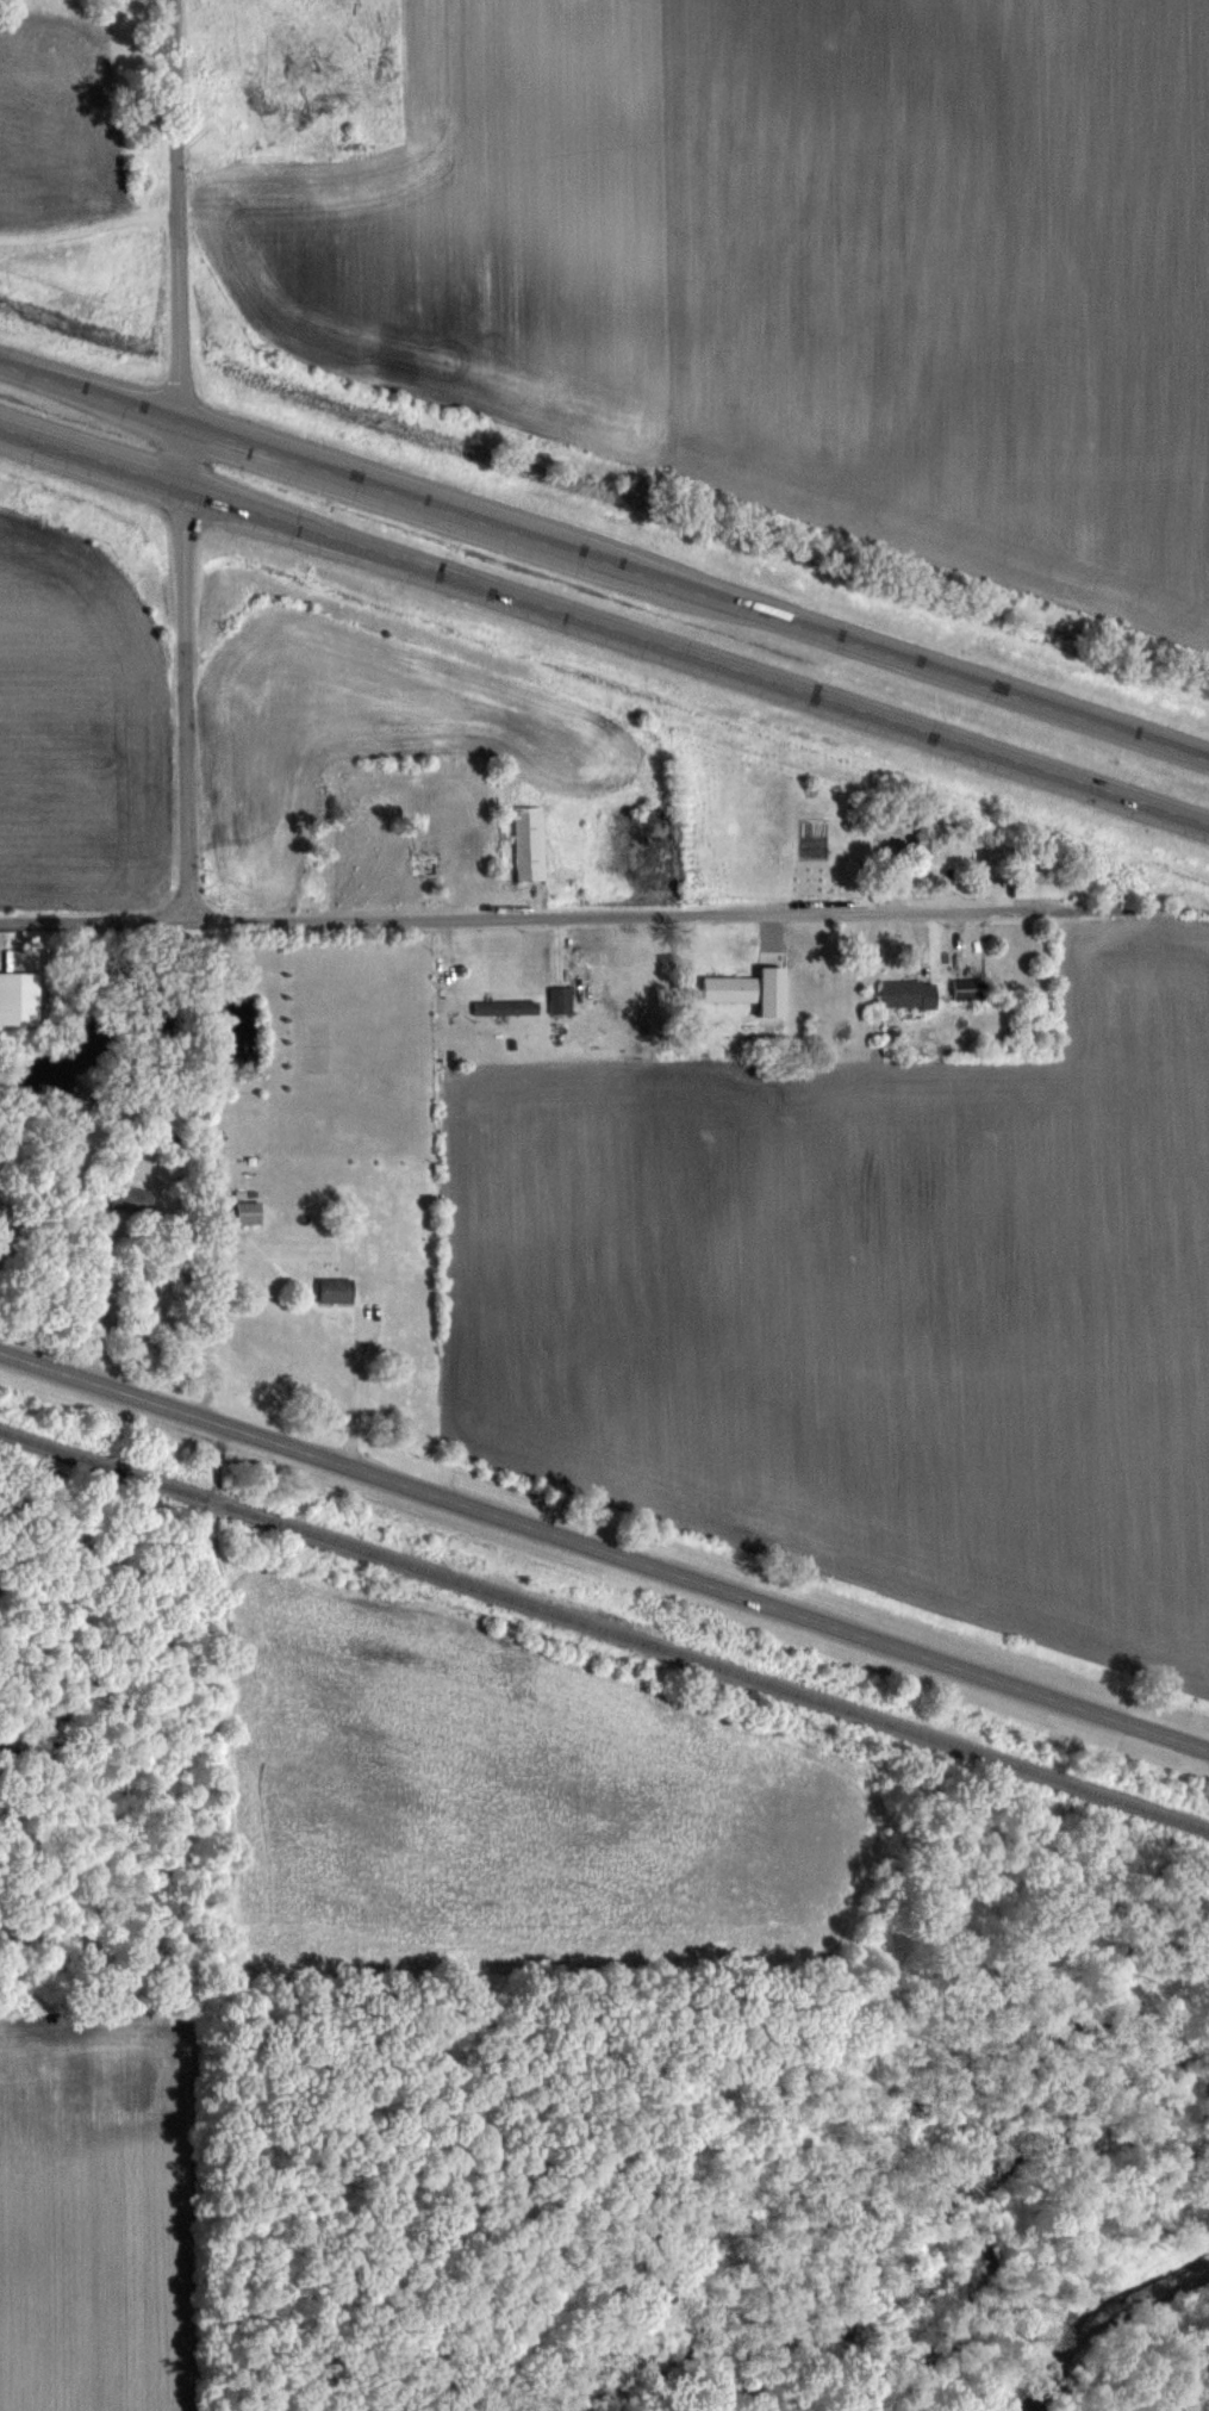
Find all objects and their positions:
road: (181, 460)
road: (604, 560)
road: (604, 623)
building: (528, 841)
building: (920, 847)
building: (418, 862)
building: (1034, 881)
road: (603, 914)
road: (95, 922)
building: (727, 987)
building: (965, 988)
building: (905, 992)
building: (18, 996)
building: (559, 998)
building: (139, 1198)
building: (247, 1211)
building: (332, 1288)
crop: (867, 1312)
road: (356, 1396)
road: (604, 1548)
railway: (604, 1629)

